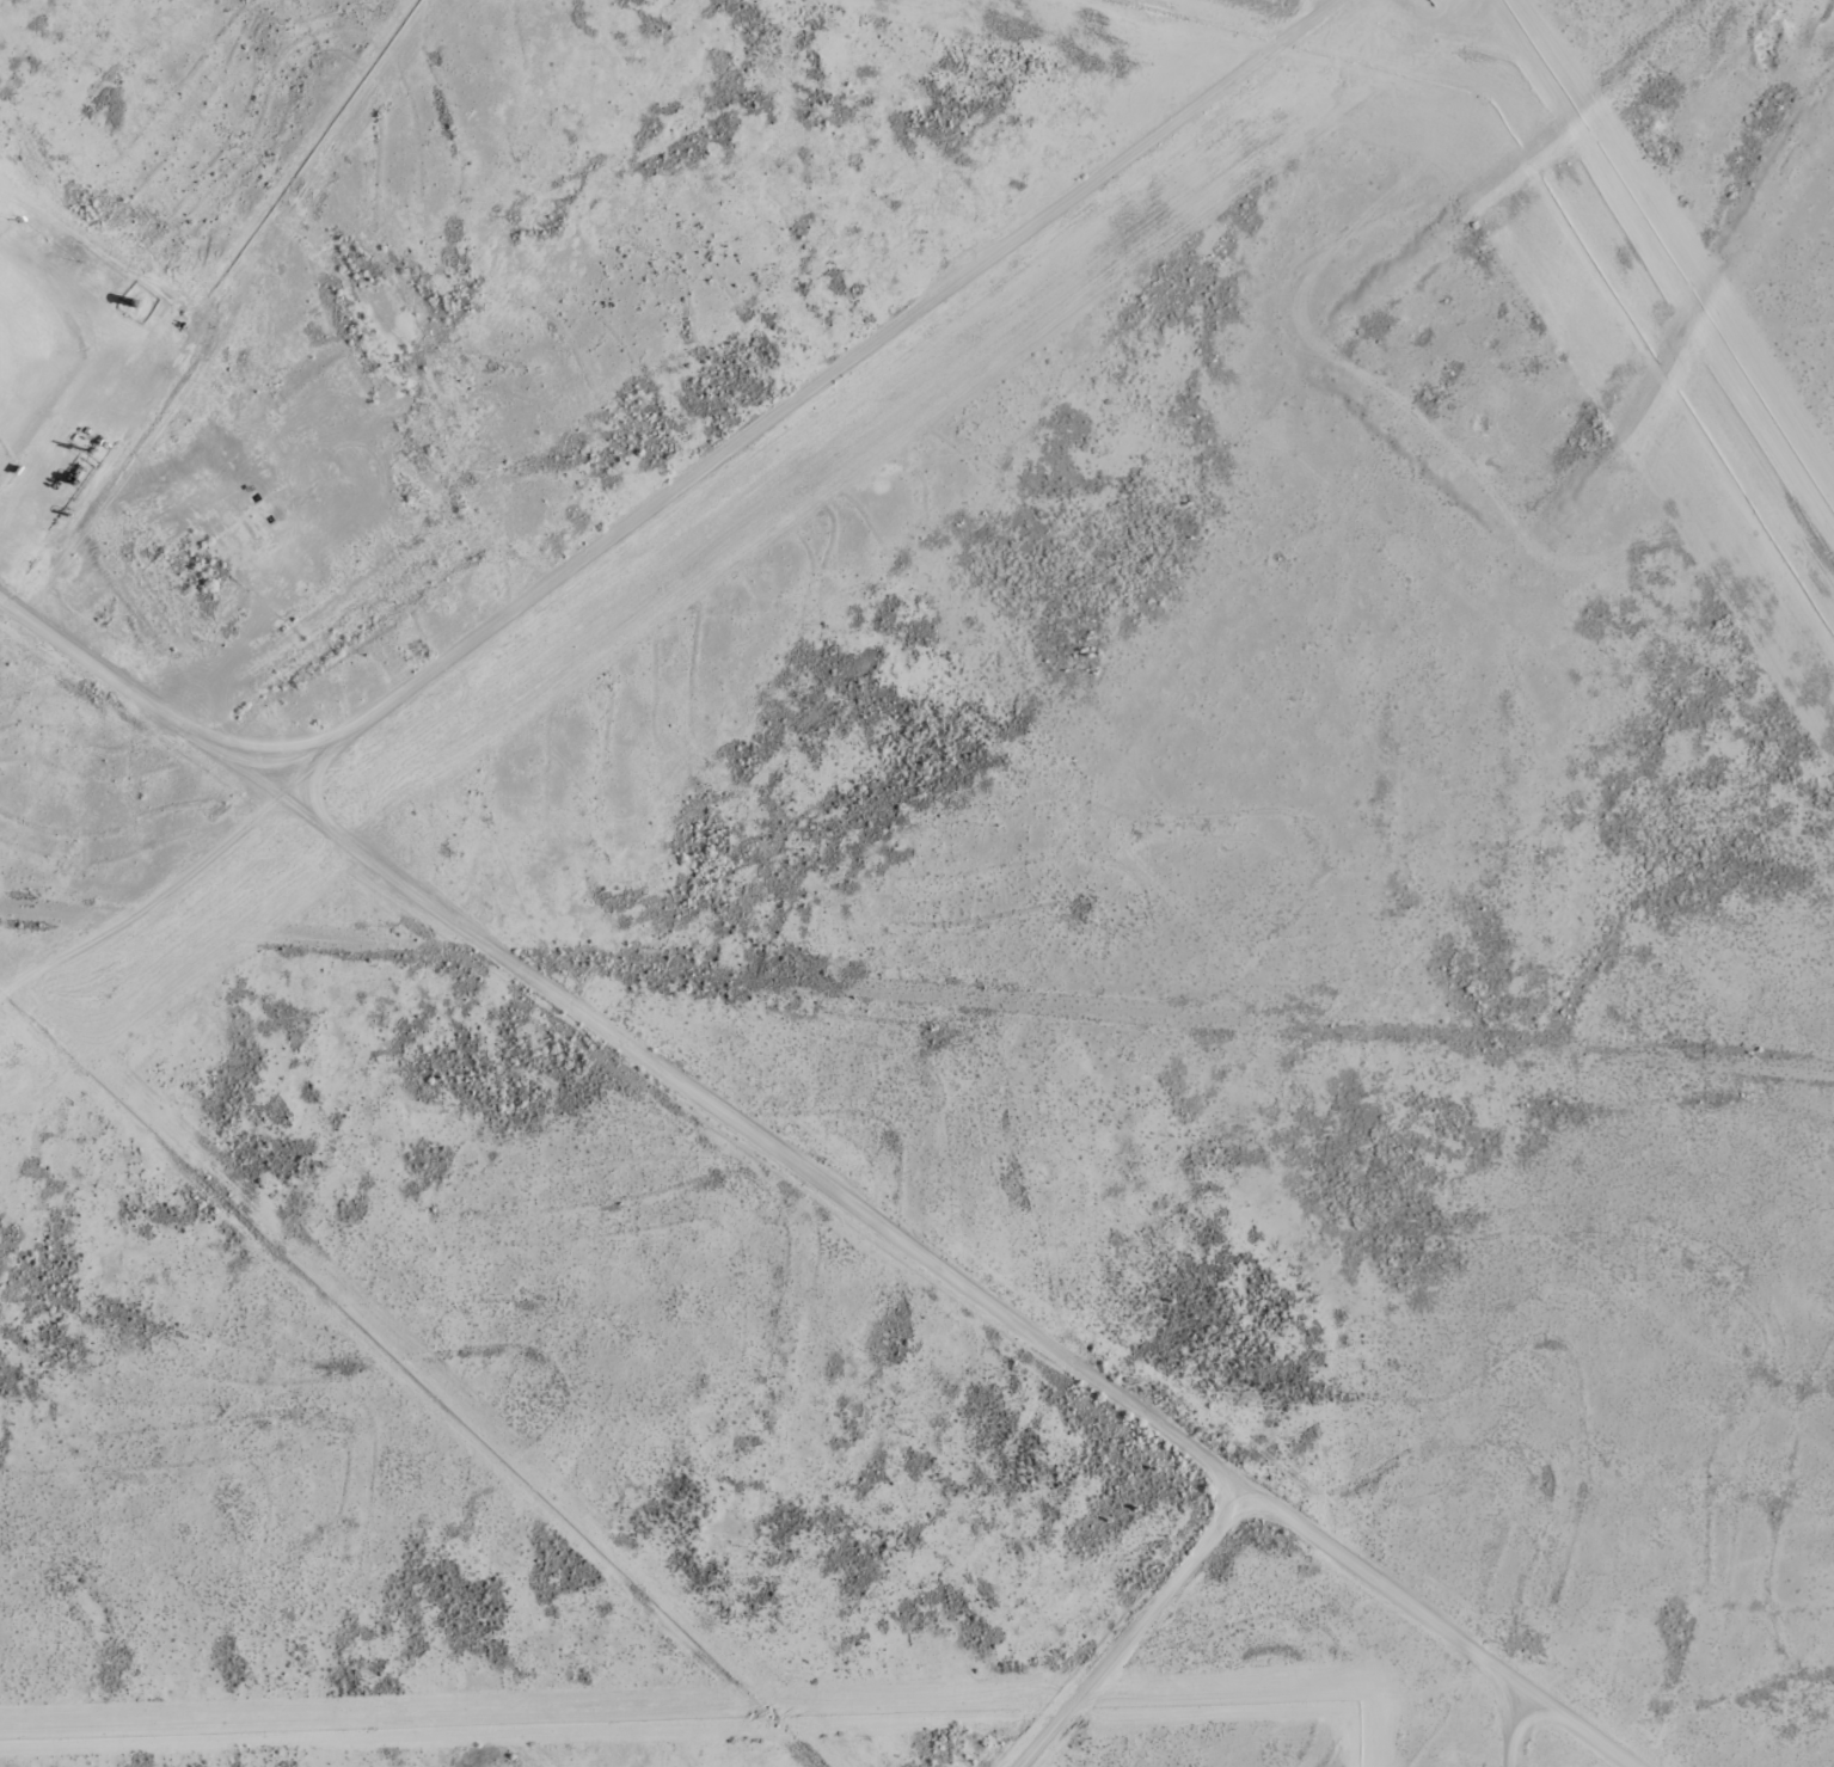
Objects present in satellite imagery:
road: (676, 489)
road: (947, 1260)
road: (1137, 1627)

